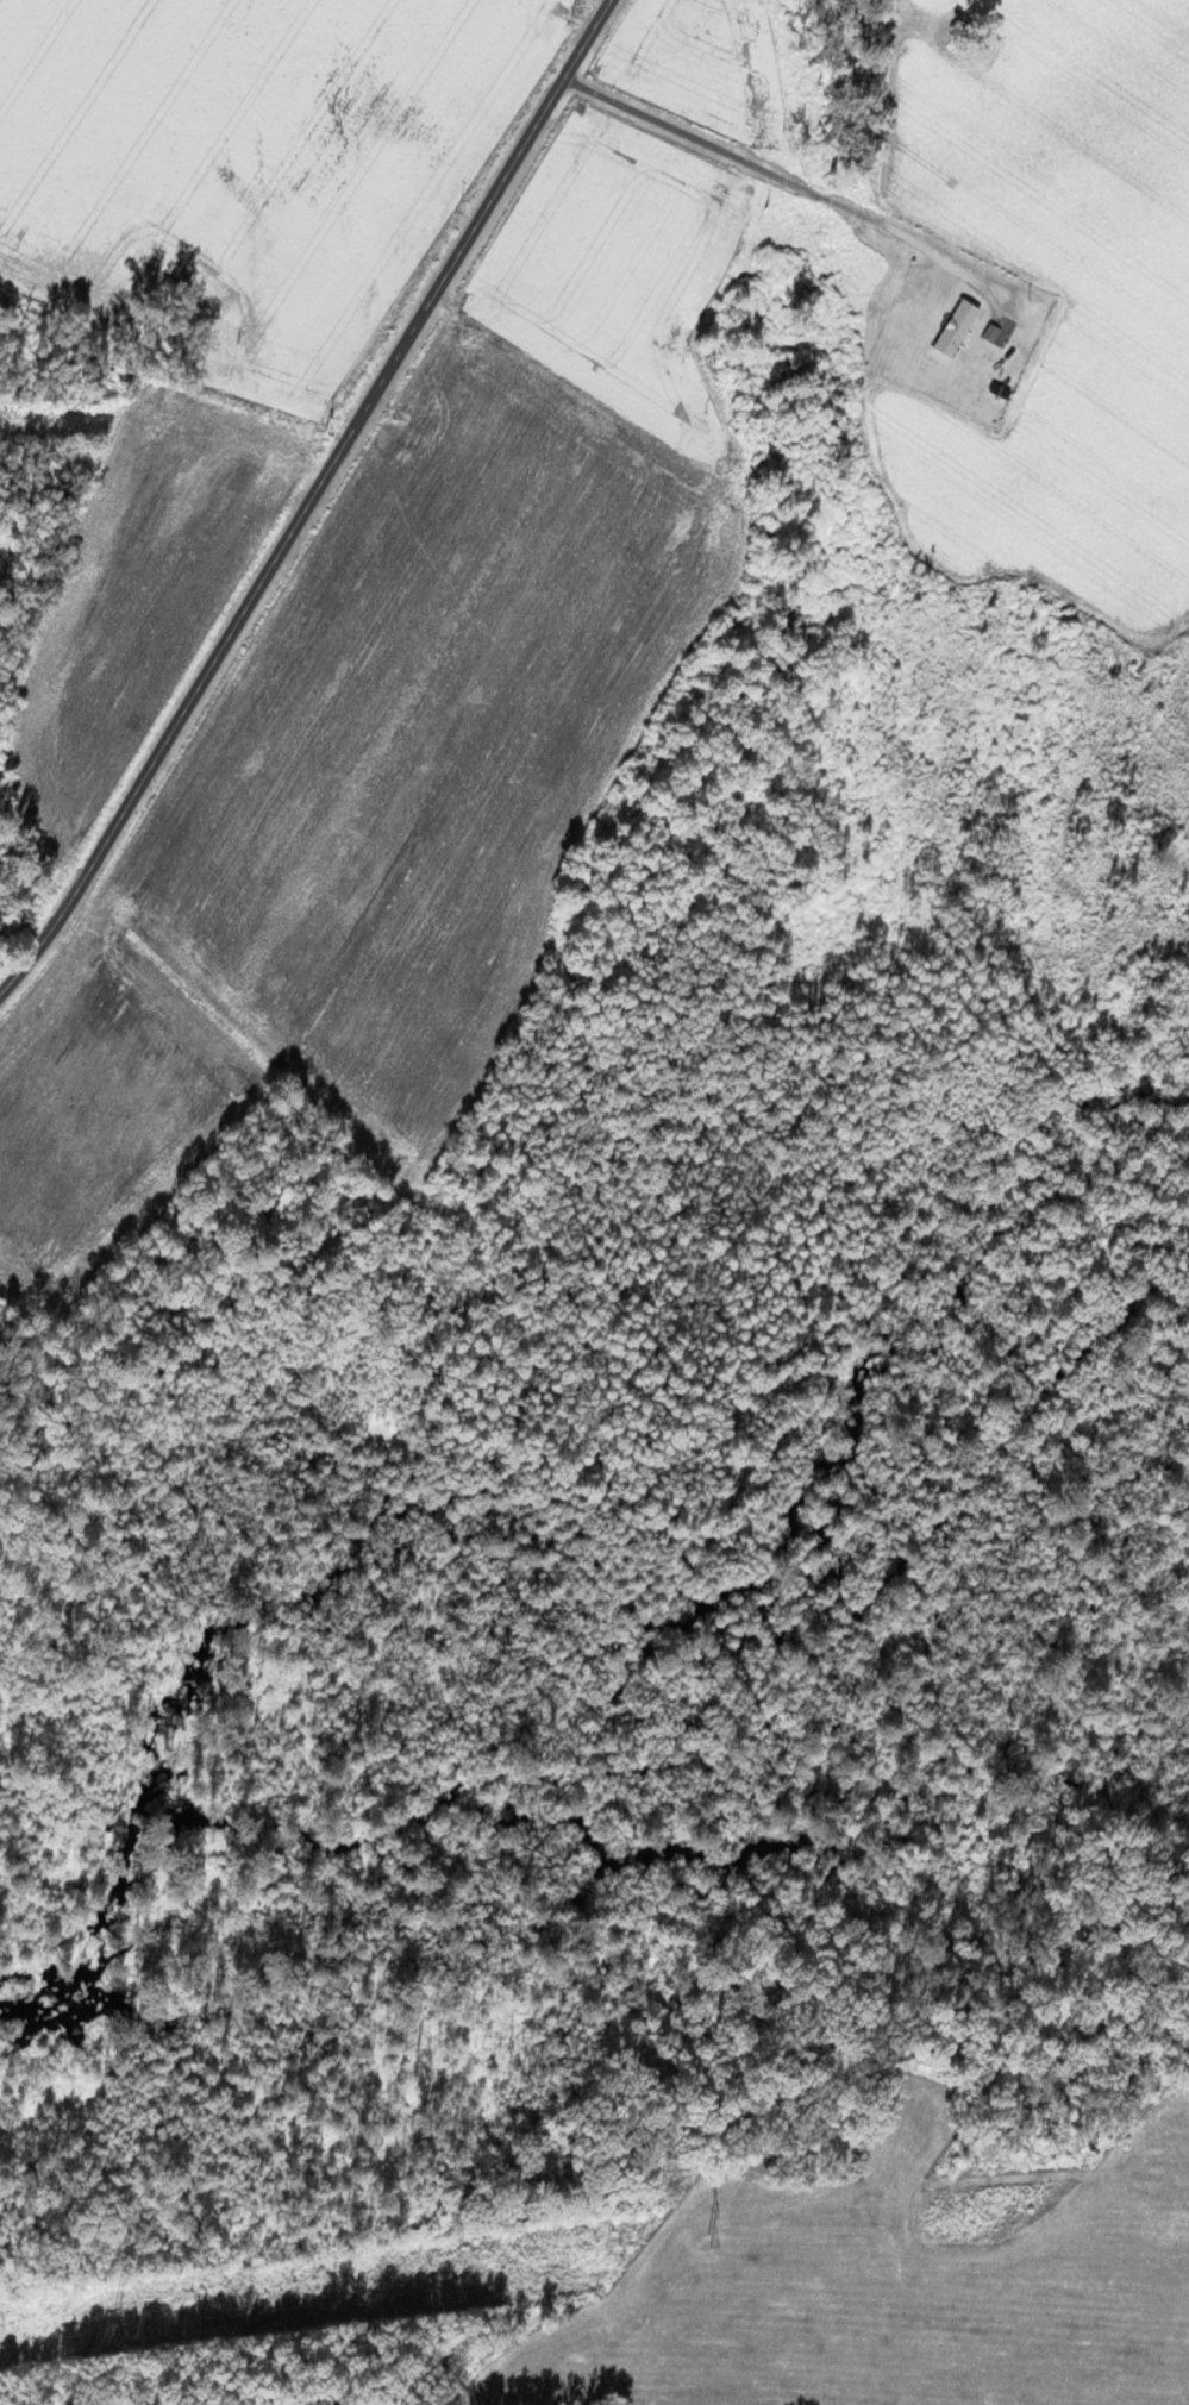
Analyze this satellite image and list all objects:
building: (957, 327)
road: (323, 520)
power tower: (708, 2241)
power tower: (114, 2317)

